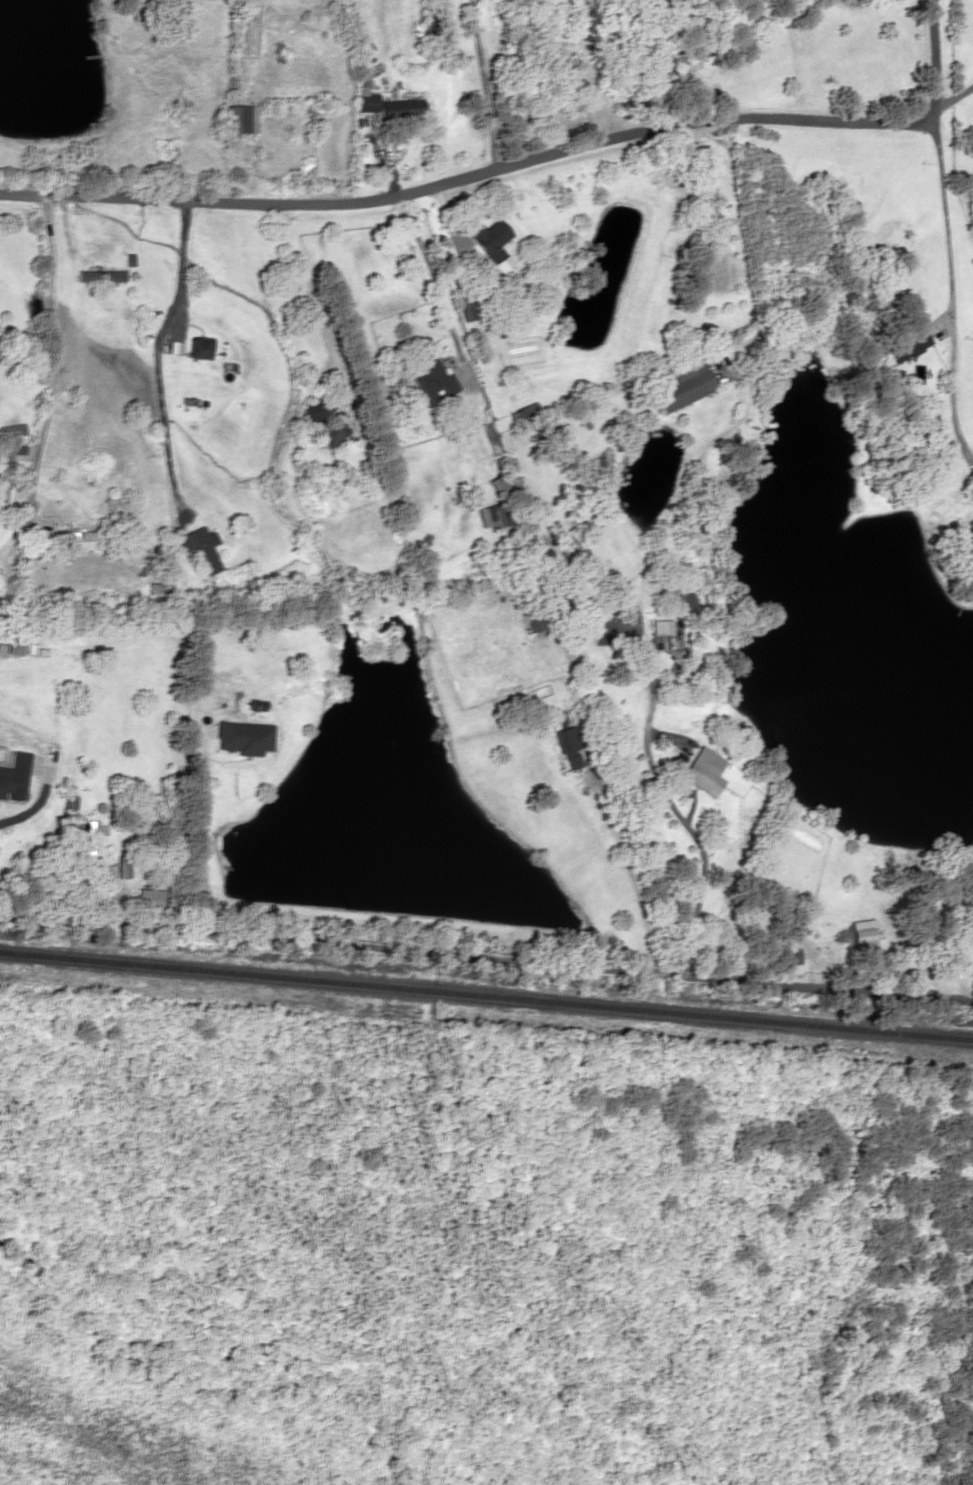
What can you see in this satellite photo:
building: (364, 94)
building: (401, 109)
building: (241, 120)
road: (526, 161)
building: (100, 276)
building: (464, 308)
building: (909, 342)
building: (197, 348)
building: (430, 376)
road: (47, 385)
building: (681, 387)
building: (320, 409)
building: (11, 430)
building: (335, 434)
building: (4, 474)
building: (489, 516)
building: (80, 540)
building: (199, 548)
building: (681, 602)
building: (534, 621)
building: (660, 627)
road: (641, 665)
building: (566, 748)
building: (700, 769)
building: (10, 820)
building: (91, 838)
building: (150, 899)
building: (856, 936)
building: (786, 955)
road: (486, 956)
railway: (486, 988)

